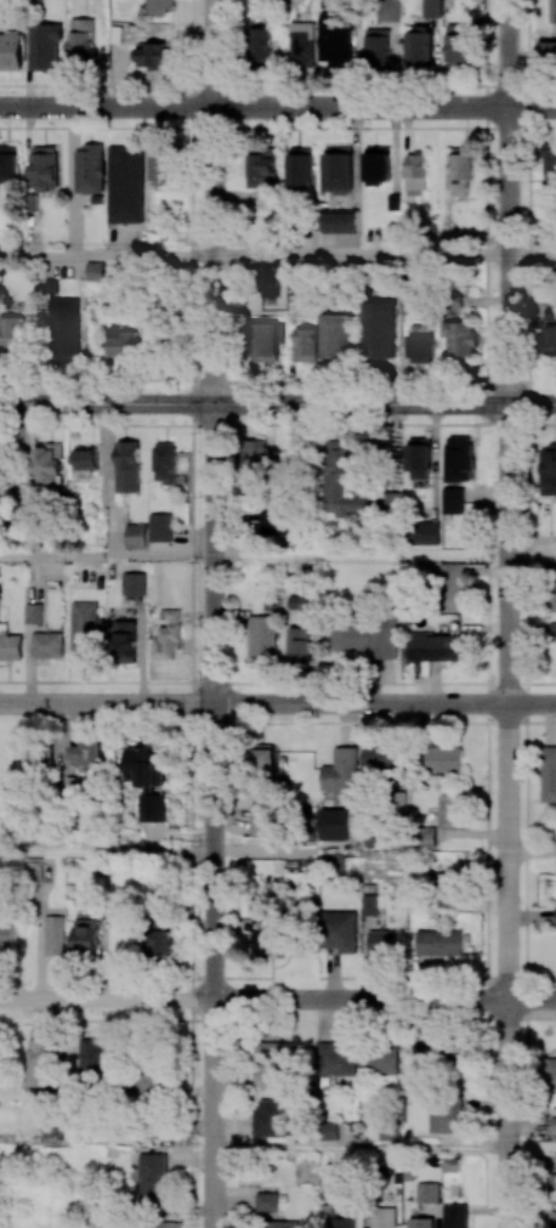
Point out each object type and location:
building: (159, 7)
building: (431, 7)
building: (388, 10)
building: (552, 11)
building: (334, 38)
building: (81, 41)
building: (459, 43)
building: (261, 44)
building: (302, 44)
building: (45, 46)
building: (420, 46)
building: (376, 47)
building: (11, 51)
building: (548, 52)
building: (154, 53)
road: (140, 86)
road: (278, 107)
building: (549, 162)
building: (8, 163)
building: (378, 164)
building: (163, 168)
building: (261, 168)
building: (339, 168)
building: (44, 169)
building: (90, 169)
building: (300, 169)
building: (460, 172)
building: (415, 174)
building: (125, 183)
road: (215, 202)
road: (509, 202)
building: (340, 220)
road: (107, 256)
road: (362, 256)
road: (532, 256)
building: (95, 271)
building: (267, 277)
building: (550, 282)
building: (64, 329)
building: (380, 329)
building: (11, 330)
building: (550, 330)
building: (337, 335)
building: (459, 338)
building: (266, 340)
building: (123, 341)
building: (421, 343)
building: (305, 344)
road: (277, 383)
road: (278, 403)
building: (256, 454)
building: (86, 457)
building: (419, 458)
building: (458, 458)
building: (47, 463)
building: (165, 463)
building: (127, 469)
building: (548, 470)
building: (341, 481)
building: (453, 500)
building: (276, 522)
building: (160, 527)
building: (425, 532)
building: (136, 536)
road: (362, 555)
road: (532, 555)
road: (107, 556)
building: (134, 583)
building: (453, 587)
building: (554, 588)
building: (33, 612)
building: (84, 629)
building: (552, 629)
building: (169, 635)
building: (261, 636)
building: (364, 639)
building: (126, 641)
building: (47, 644)
building: (299, 644)
building: (10, 646)
building: (435, 646)
road: (278, 703)
building: (89, 752)
building: (379, 759)
building: (444, 759)
building: (38, 760)
building: (265, 764)
building: (549, 774)
building: (341, 775)
building: (147, 780)
building: (450, 811)
road: (215, 815)
road: (509, 816)
building: (262, 819)
building: (424, 837)
road: (532, 851)
road: (107, 853)
building: (447, 899)
road: (40, 924)
building: (339, 930)
building: (53, 934)
building: (6, 935)
building: (85, 936)
building: (159, 939)
building: (270, 939)
building: (386, 940)
building: (439, 941)
road: (107, 1000)
road: (385, 1000)
building: (92, 1056)
building: (425, 1057)
building: (337, 1058)
building: (381, 1058)
building: (272, 1059)
building: (38, 1063)
building: (550, 1071)
building: (153, 1079)
building: (272, 1117)
building: (447, 1119)
building: (552, 1125)
building: (329, 1131)
road: (361, 1147)
road: (532, 1148)
building: (450, 1165)
building: (152, 1176)
building: (427, 1192)
building: (267, 1201)
building: (454, 1216)
building: (382, 1217)
building: (344, 1218)
building: (554, 1218)
building: (420, 1222)
building: (278, 1223)
building: (168, 1224)

